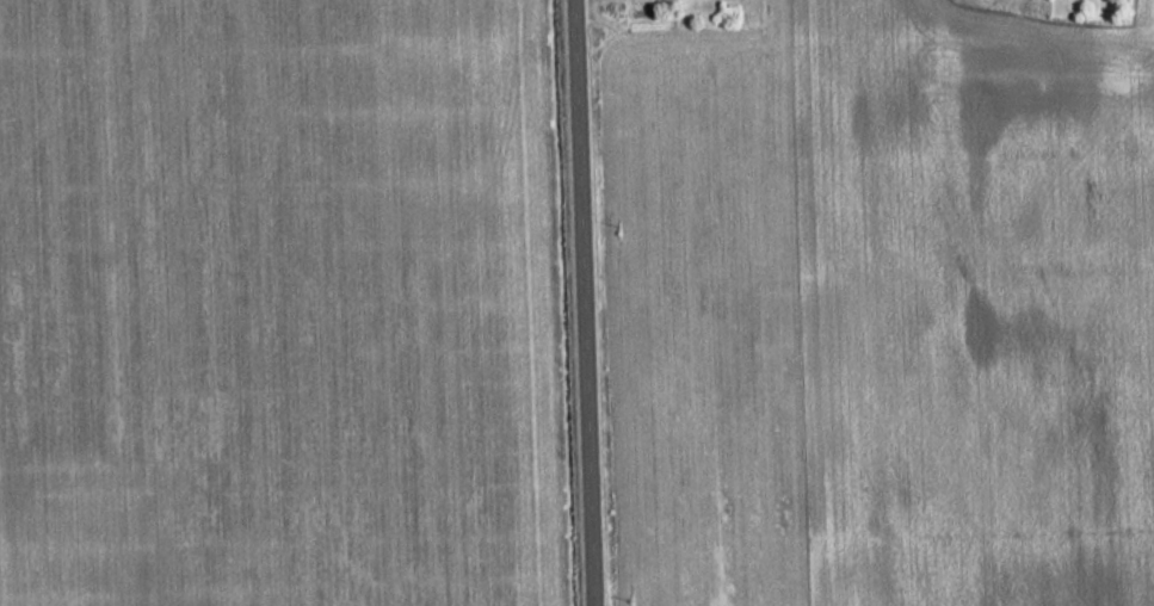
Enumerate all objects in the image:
road: (588, 303)
crop: (273, 304)
crop: (882, 308)

